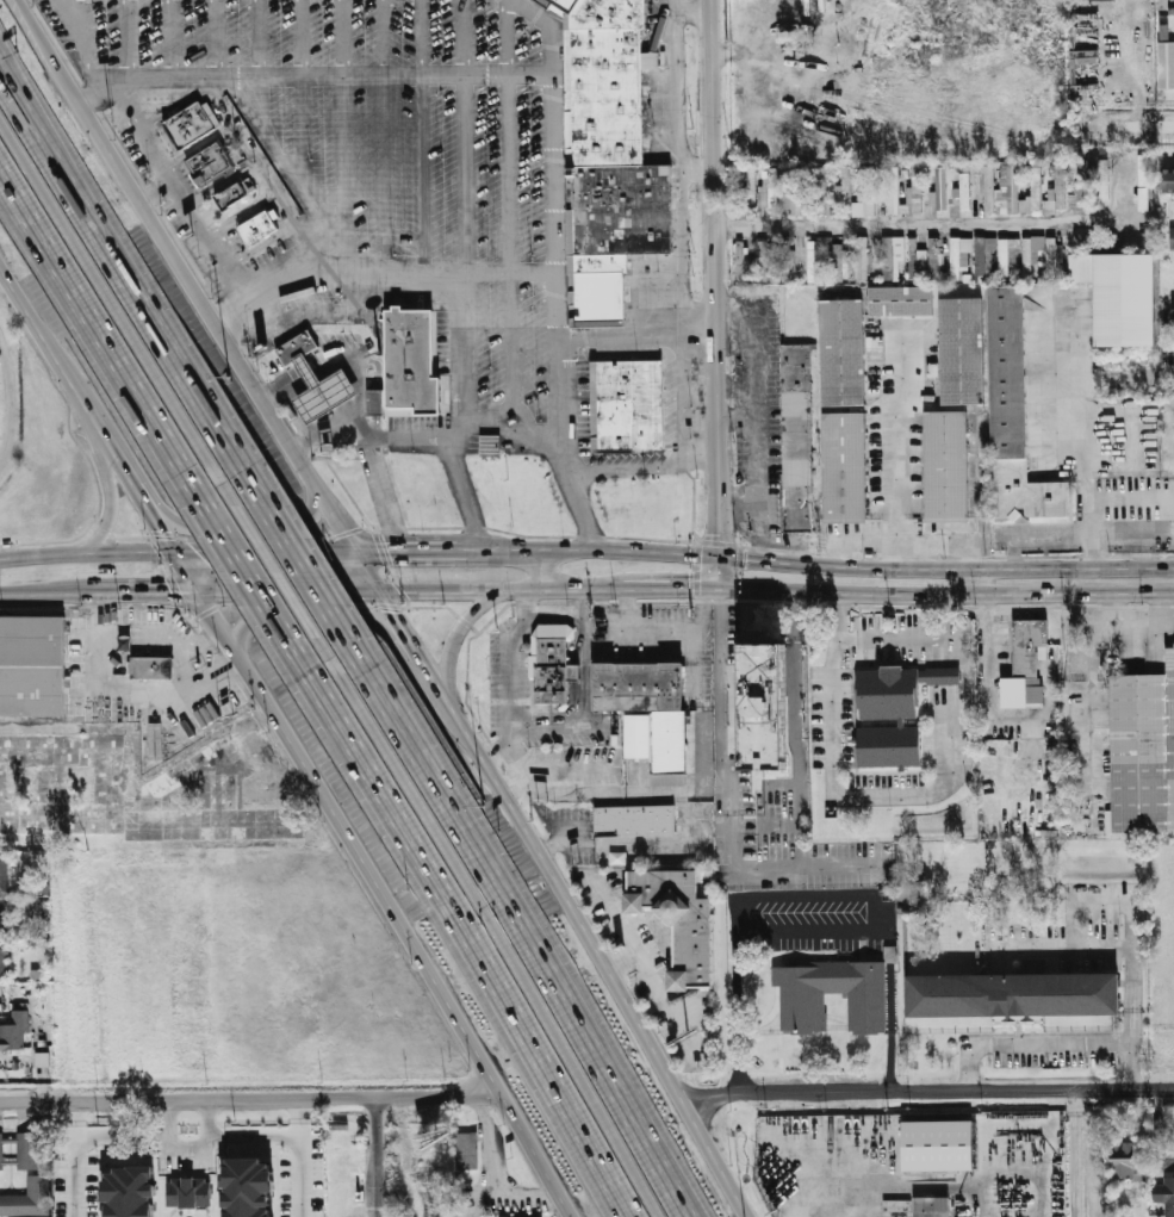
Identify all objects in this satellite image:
building: (1101, 0)
building: (566, 5)
road: (688, 10)
building: (609, 14)
road: (39, 36)
road: (85, 38)
road: (172, 38)
road: (215, 38)
road: (129, 39)
road: (259, 61)
building: (1166, 63)
road: (7, 66)
road: (7, 70)
road: (312, 75)
building: (607, 97)
road: (222, 106)
building: (191, 125)
road: (1150, 125)
road: (303, 134)
road: (344, 134)
road: (385, 134)
road: (421, 135)
road: (268, 136)
building: (209, 163)
road: (698, 168)
building: (1142, 170)
road: (261, 179)
building: (1104, 180)
building: (1168, 181)
building: (1083, 185)
building: (751, 186)
building: (844, 187)
building: (1061, 187)
building: (770, 190)
building: (939, 190)
building: (964, 191)
building: (821, 192)
building: (914, 192)
building: (1008, 192)
building: (791, 194)
building: (865, 194)
building: (1144, 197)
building: (230, 198)
road: (188, 206)
road: (509, 209)
road: (555, 209)
building: (622, 209)
road: (464, 212)
road: (282, 213)
road: (893, 226)
building: (257, 228)
road: (683, 228)
road: (701, 237)
building: (1172, 238)
building: (1091, 240)
building: (1031, 250)
building: (983, 254)
building: (1007, 254)
building: (787, 255)
building: (959, 255)
building: (739, 256)
building: (892, 256)
building: (1051, 256)
building: (816, 257)
building: (863, 259)
building: (934, 259)
building: (763, 260)
building: (917, 260)
building: (839, 261)
road: (378, 268)
road: (714, 278)
road: (5, 285)
building: (600, 287)
road: (139, 293)
building: (1119, 293)
building: (901, 299)
building: (1173, 311)
road: (118, 312)
road: (220, 331)
road: (638, 335)
road: (103, 339)
building: (297, 347)
building: (841, 350)
building: (962, 350)
road: (57, 362)
building: (414, 362)
road: (1147, 373)
road: (294, 379)
road: (735, 386)
building: (324, 392)
gas station: (324, 392)
road: (756, 401)
road: (7, 402)
building: (374, 402)
building: (627, 406)
road: (735, 414)
building: (1015, 415)
road: (499, 416)
road: (324, 429)
building: (797, 436)
road: (1087, 440)
road: (410, 441)
road: (895, 442)
building: (490, 446)
road: (372, 452)
building: (844, 465)
building: (948, 466)
road: (644, 471)
road: (132, 485)
road: (577, 493)
road: (470, 496)
road: (250, 522)
road: (104, 528)
road: (758, 528)
traffic signals: (160, 529)
road: (161, 533)
road: (1054, 533)
traffic signals: (718, 534)
road: (695, 535)
road: (784, 540)
road: (855, 544)
road: (894, 544)
road: (945, 545)
road: (758, 546)
road: (266, 552)
traffic signals: (386, 552)
road: (409, 552)
road: (588, 552)
traffic signals: (197, 553)
road: (86, 554)
traffic signals: (747, 559)
road: (543, 570)
road: (945, 570)
road: (308, 571)
road: (184, 572)
road: (718, 572)
road: (247, 573)
road: (277, 573)
road: (737, 573)
road: (981, 583)
road: (504, 588)
road: (672, 588)
traffic signals: (690, 589)
road: (23, 592)
road: (120, 592)
traffic signals: (168, 592)
road: (288, 592)
traffic signals: (349, 592)
road: (945, 596)
road: (710, 598)
road: (572, 602)
road: (584, 604)
traffic signals: (706, 607)
road: (390, 609)
traffic signals: (391, 610)
road: (306, 617)
road: (945, 625)
road: (458, 626)
road: (1135, 631)
road: (636, 633)
road: (862, 635)
parking lot: (664, 644)
road: (414, 650)
road: (692, 653)
building: (1031, 657)
road: (508, 664)
building: (153, 666)
building: (33, 668)
road: (100, 671)
building: (553, 671)
road: (993, 673)
building: (942, 678)
road: (433, 682)
road: (1095, 682)
building: (638, 684)
parking lot: (521, 691)
building: (890, 695)
road: (726, 698)
road: (576, 701)
building: (764, 707)
road: (586, 713)
building: (638, 737)
building: (670, 740)
building: (890, 747)
building: (1142, 750)
road: (802, 789)
road: (852, 793)
building: (634, 820)
road: (845, 864)
building: (4, 874)
road: (566, 894)
road: (387, 901)
road: (1111, 901)
building: (32, 906)
building: (681, 919)
building: (4, 923)
road: (491, 926)
road: (520, 927)
road: (459, 929)
road: (844, 929)
road: (1110, 946)
building: (2, 961)
building: (1014, 995)
building: (802, 1011)
building: (696, 1023)
building: (15, 1030)
road: (1051, 1043)
road: (737, 1063)
road: (956, 1092)
road: (712, 1095)
road: (251, 1098)
road: (256, 1132)
building: (7, 1140)
building: (934, 1144)
building: (27, 1149)
building: (467, 1151)
road: (1071, 1155)
road: (188, 1156)
road: (374, 1156)
road: (79, 1157)
road: (303, 1157)
road: (720, 1160)
building: (7, 1161)
building: (1125, 1163)
building: (0, 1167)
building: (248, 1187)
building: (129, 1192)
building: (187, 1192)
building: (1167, 1194)
building: (27, 1197)
building: (930, 1206)
building: (502, 1216)

